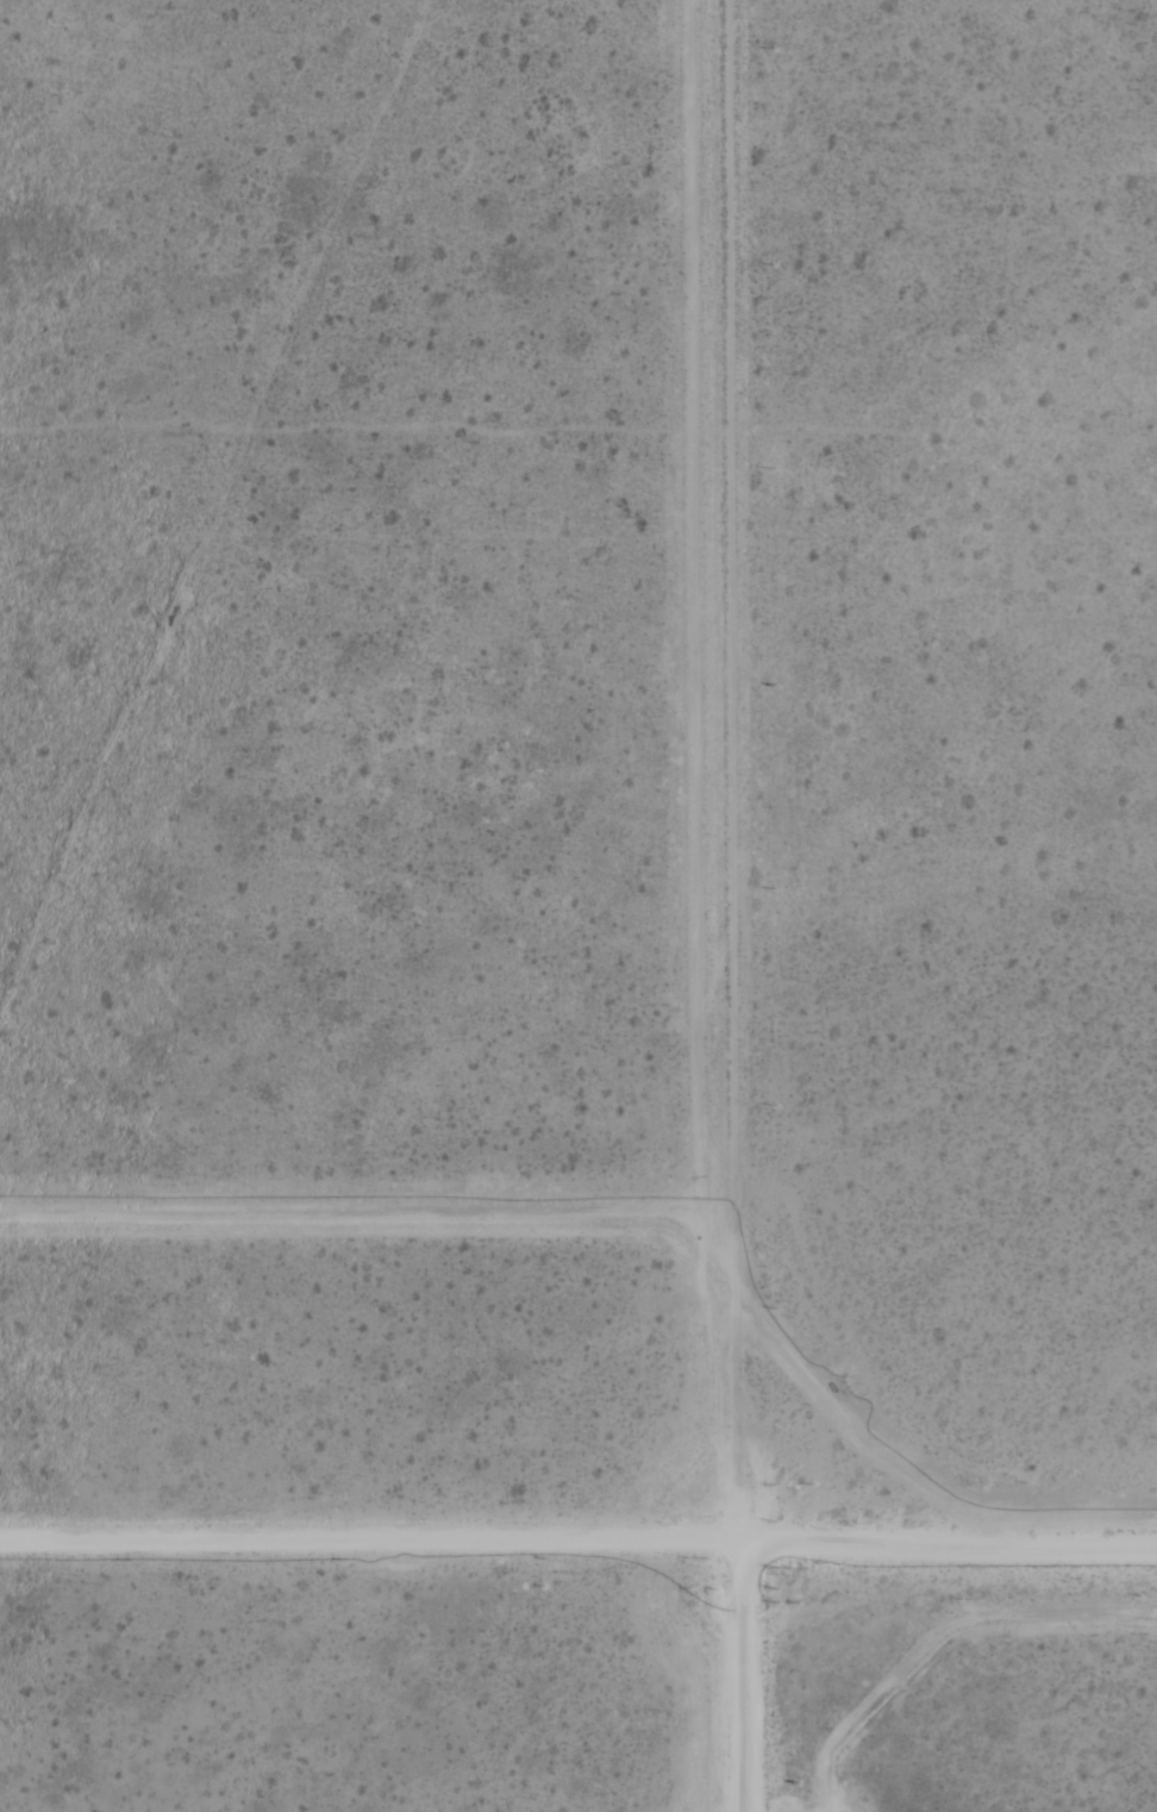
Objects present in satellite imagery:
road: (577, 1536)
road: (742, 1674)

